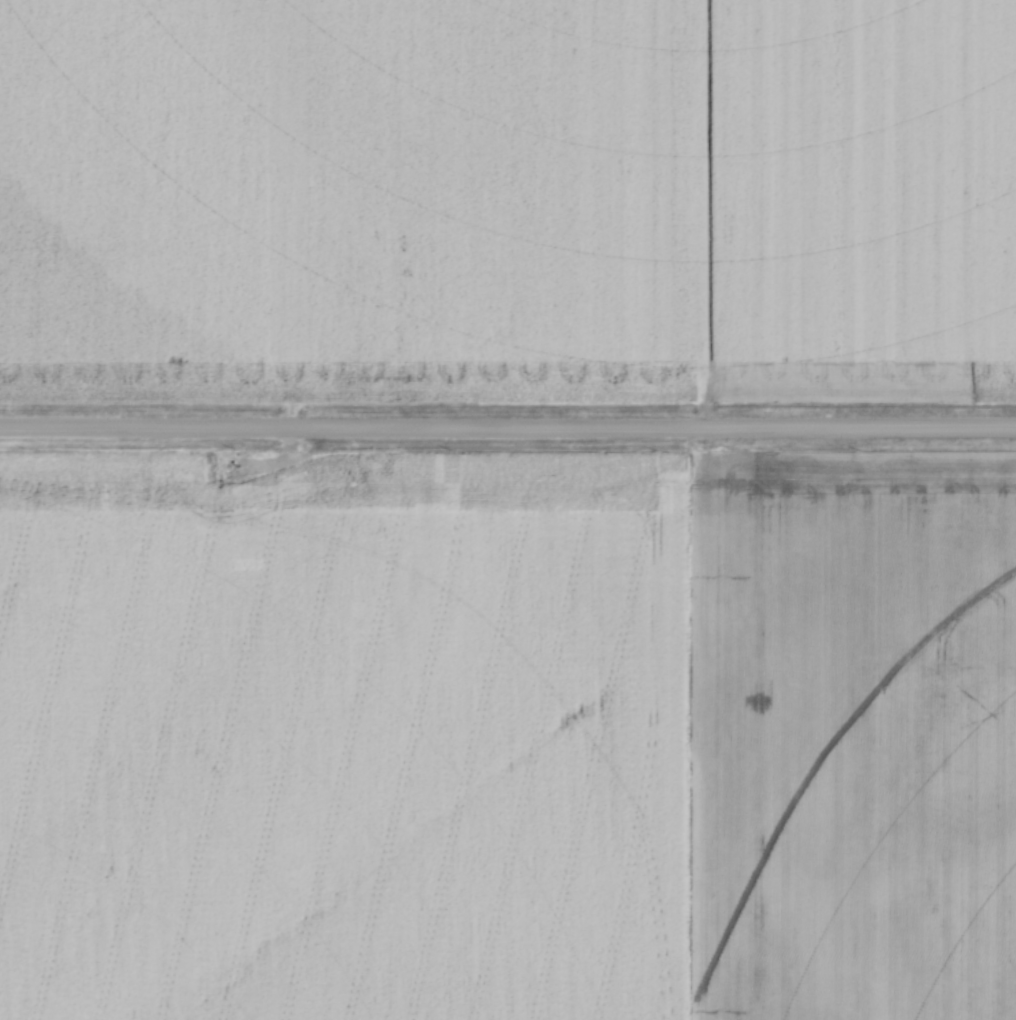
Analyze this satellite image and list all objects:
road: (508, 429)

